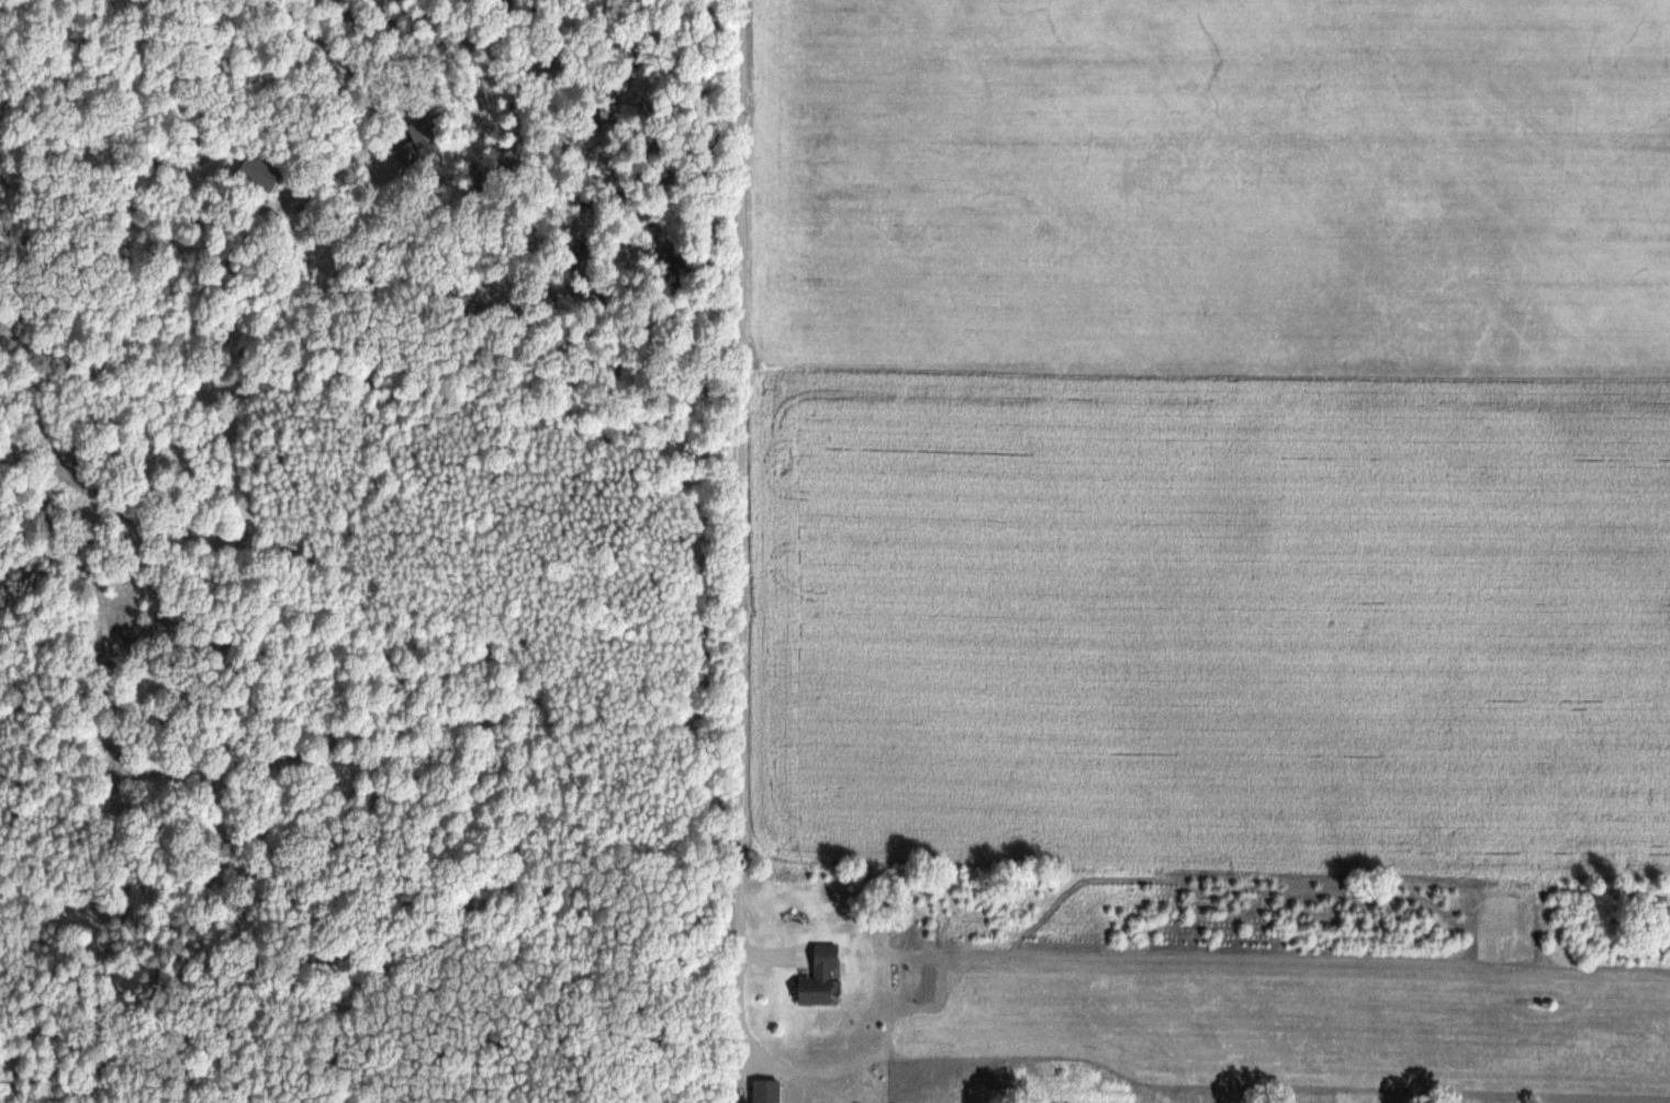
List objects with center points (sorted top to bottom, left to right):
road: (318, 54)
building: (417, 143)
building: (803, 956)
building: (819, 975)
building: (765, 1090)

